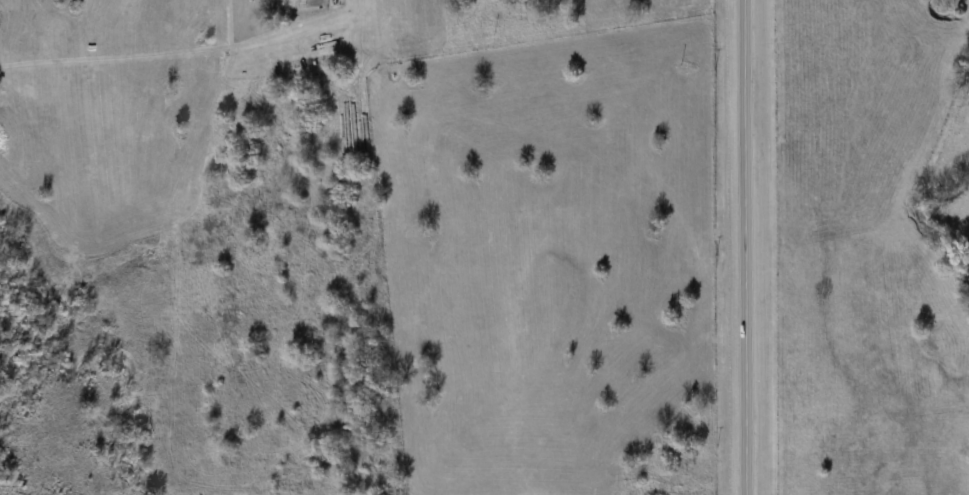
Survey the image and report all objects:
road: (736, 247)

